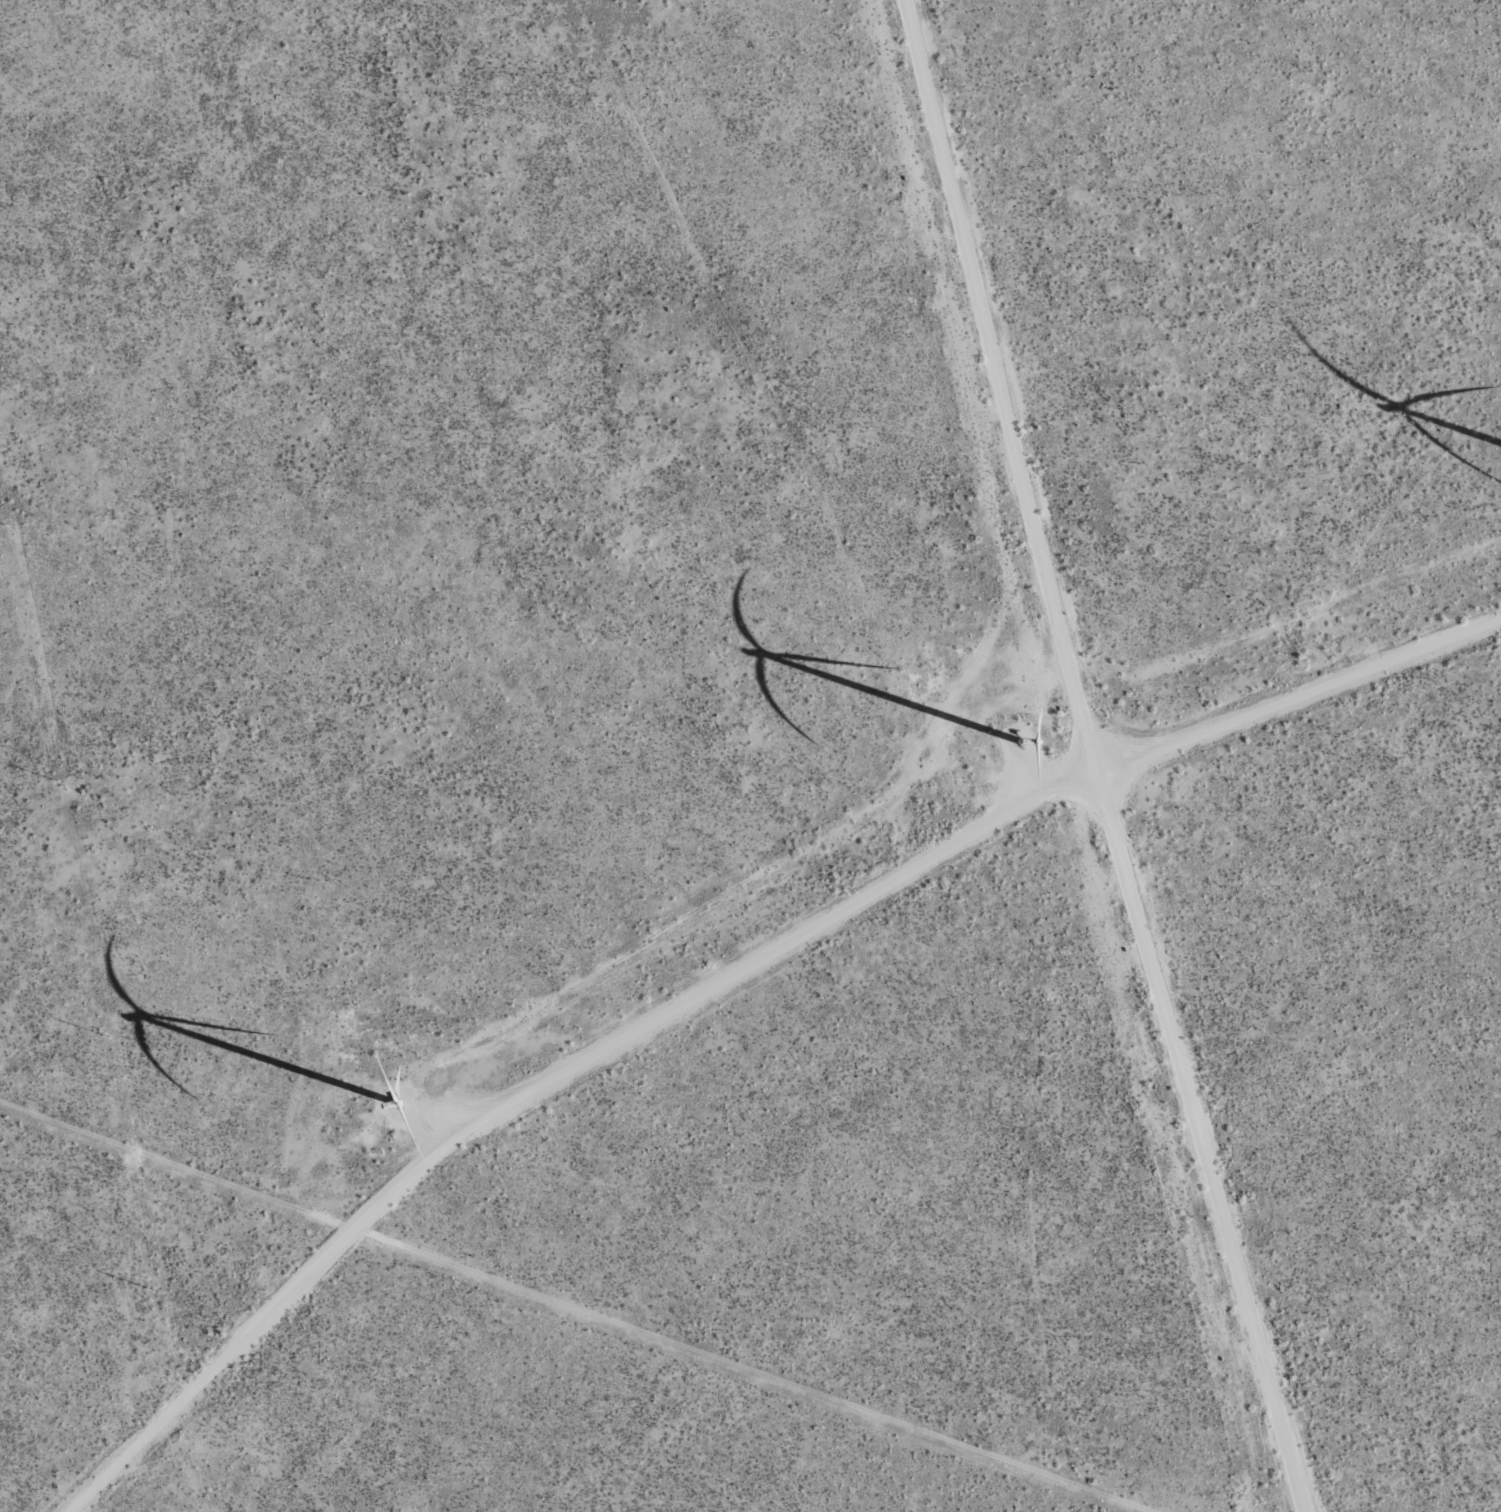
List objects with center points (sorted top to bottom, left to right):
power tower: (4, 526)
wind turbine: (1019, 738)
power tower: (55, 782)
power tower: (106, 1038)
wind turbine: (385, 1101)
power tower: (158, 1293)

